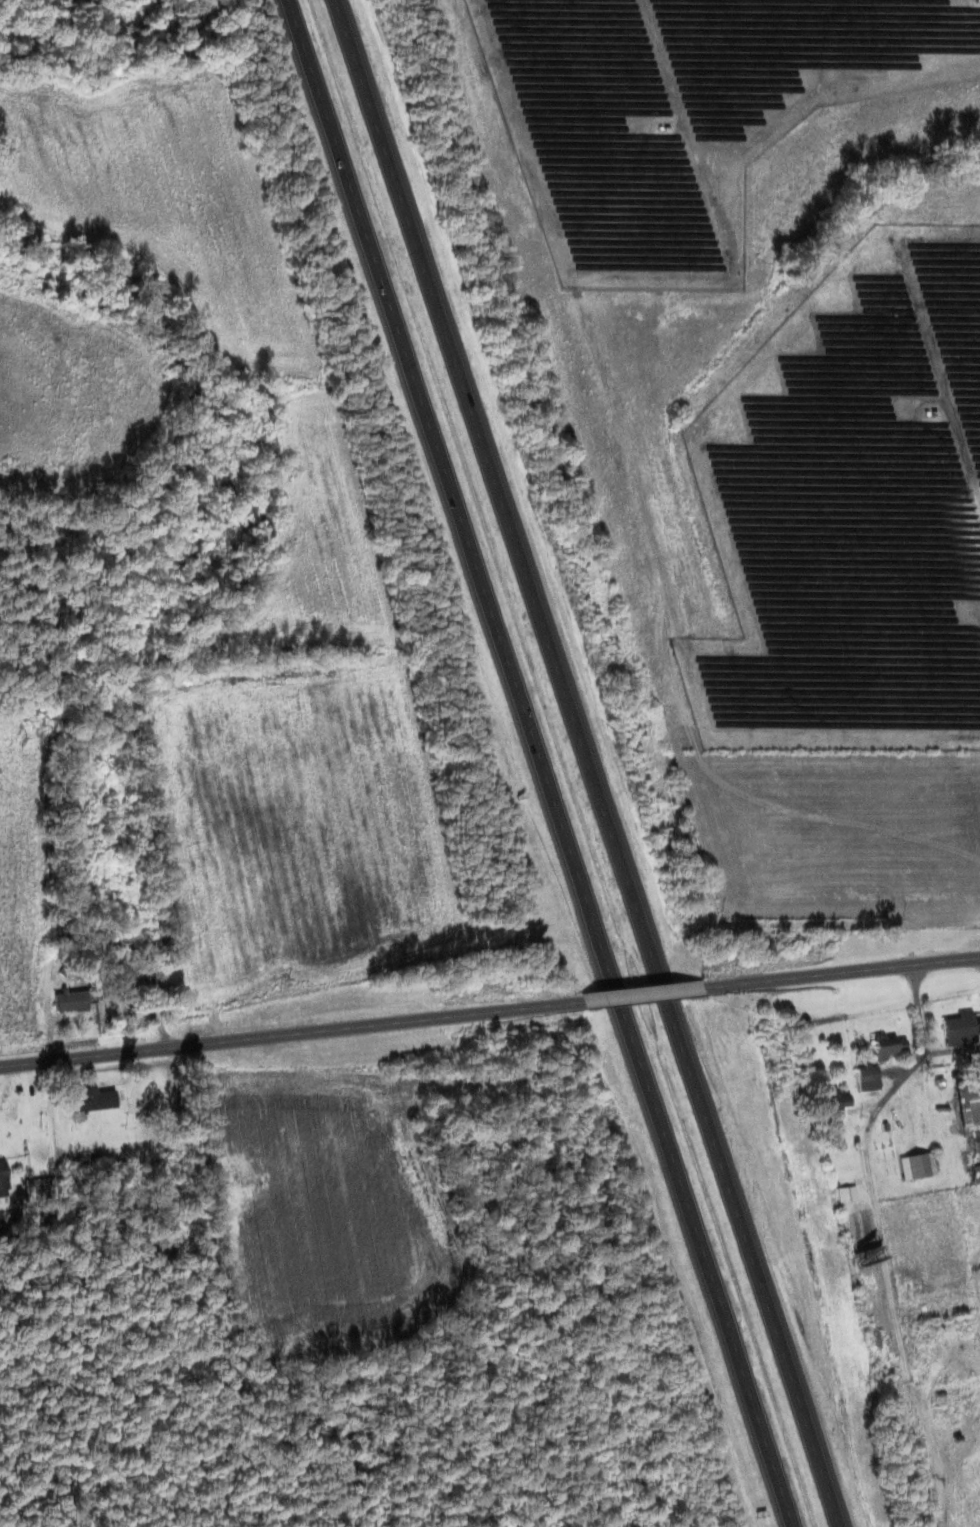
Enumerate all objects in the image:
solar farm: (686, 112)
solar farm: (850, 511)
road: (589, 762)
road: (543, 763)
road: (849, 973)
building: (124, 983)
road: (645, 998)
building: (69, 1002)
building: (960, 1029)
road: (286, 1037)
building: (886, 1047)
building: (867, 1078)
building: (88, 1101)
building: (834, 1102)
building: (968, 1106)
building: (975, 1141)
building: (916, 1166)
building: (975, 1174)
building: (2, 1183)
building: (39, 1189)
building: (845, 1194)

